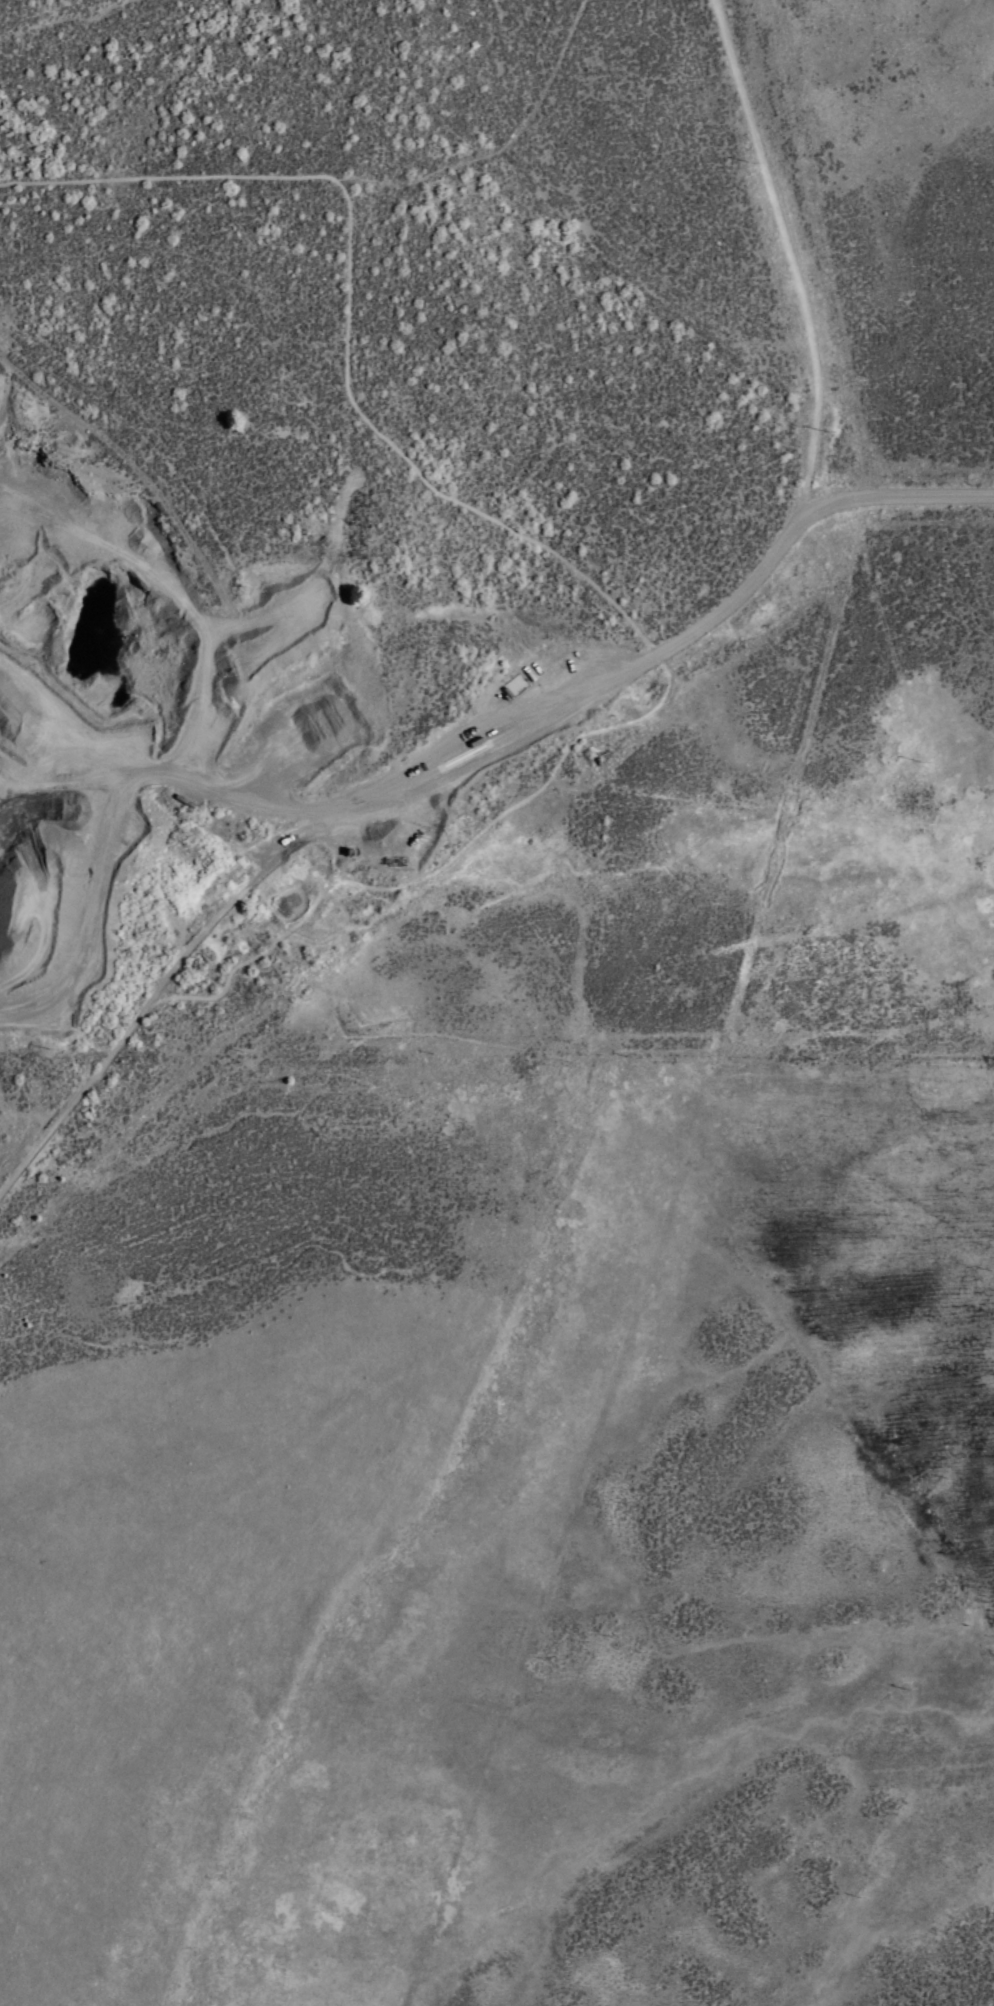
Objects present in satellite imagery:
quarry: (236, 703)
crop: (522, 1032)

